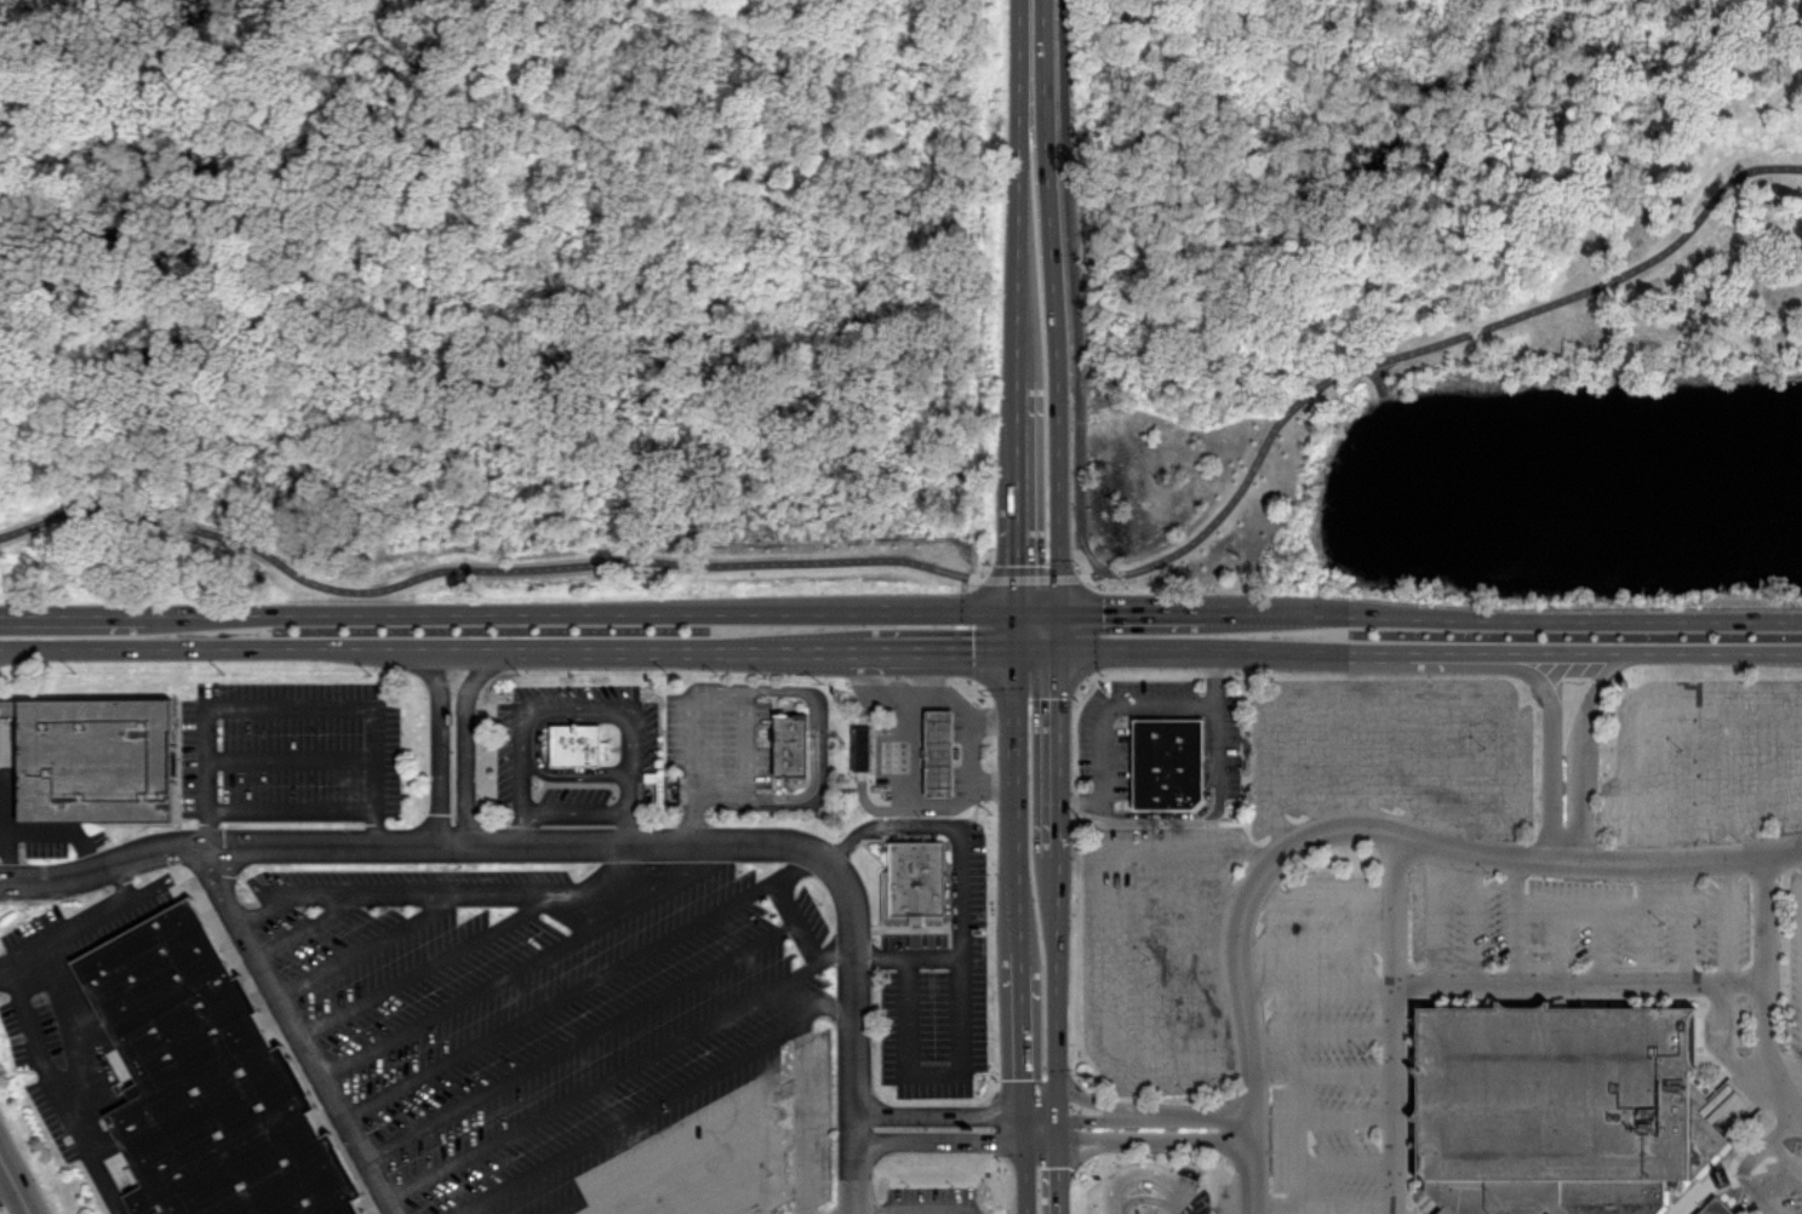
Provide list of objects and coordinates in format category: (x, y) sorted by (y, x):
road: (1034, 189)
road: (263, 236)
road: (1603, 277)
road: (1076, 294)
road: (1380, 380)
road: (1035, 428)
road: (1237, 489)
road: (1035, 542)
road: (481, 567)
road: (1031, 577)
traffic signals: (1035, 606)
road: (589, 608)
road: (1129, 608)
road: (71, 615)
road: (1512, 615)
road: (1035, 626)
road: (2, 646)
road: (261, 646)
road: (622, 646)
road: (796, 646)
road: (950, 646)
road: (2, 647)
traffic signals: (1035, 648)
road: (1114, 649)
road: (1295, 652)
road: (1653, 653)
road: (1452, 654)
road: (920, 676)
road: (1389, 698)
road: (1116, 705)
road: (1640, 705)
road: (291, 706)
road: (537, 708)
road: (973, 715)
road: (439, 733)
road: (468, 734)
road: (1552, 735)
parking lot: (721, 738)
road: (693, 741)
road: (1215, 743)
road: (539, 744)
building: (582, 744)
building: (794, 745)
road: (1035, 745)
building: (863, 746)
parking lot: (514, 748)
road: (974, 750)
parking lot: (291, 751)
building: (942, 751)
gas station: (942, 751)
parking lot: (1394, 752)
road: (1581, 752)
parking lot: (1102, 756)
building: (97, 757)
road: (291, 757)
road: (746, 760)
building: (1163, 761)
road: (1365, 762)
parking lot: (1705, 762)
road: (1318, 765)
road: (1414, 768)
road: (1787, 772)
road: (913, 773)
road: (1744, 774)
road: (822, 775)
road: (1465, 775)
road: (1701, 778)
road: (1657, 779)
road: (12, 797)
road: (1070, 800)
road: (631, 807)
road: (292, 811)
road: (577, 811)
road: (1165, 814)
road: (1335, 828)
road: (67, 831)
road: (553, 844)
road: (1036, 849)
road: (1784, 849)
road: (797, 867)
road: (608, 869)
road: (124, 882)
building: (917, 883)
road: (1178, 891)
road: (397, 893)
road: (1322, 898)
road: (1580, 905)
road: (1036, 911)
road: (104, 915)
road: (1432, 915)
road: (1475, 920)
road: (796, 921)
road: (1516, 921)
road: (1726, 921)
parking lot: (1575, 922)
road: (1684, 923)
road: (311, 924)
road: (1646, 924)
road: (1171, 932)
road: (1103, 935)
road: (1317, 943)
road: (371, 944)
road: (1557, 944)
road: (1600, 945)
road: (837, 951)
parking lot: (1159, 954)
road: (910, 956)
road: (534, 960)
parking lot: (1794, 961)
road: (433, 966)
road: (965, 969)
road: (1173, 975)
road: (1320, 985)
road: (1581, 985)
road: (1768, 989)
parking lot: (939, 990)
road: (559, 998)
road: (829, 1007)
road: (1177, 1020)
road: (1396, 1024)
road: (296, 1030)
parking lot: (571, 1031)
road: (1323, 1031)
parking lot: (55, 1033)
road: (580, 1038)
parking lot: (1322, 1042)
road: (73, 1043)
road: (1037, 1047)
road: (1721, 1047)
road: (1323, 1072)
building: (211, 1081)
road: (603, 1081)
road: (57, 1094)
building: (1557, 1109)
road: (628, 1117)
road: (803, 1117)
road: (1345, 1117)
road: (948, 1129)
road: (1145, 1129)
traffic signals: (1039, 1130)
road: (1294, 1140)
road: (677, 1145)
road: (1786, 1158)
road: (1752, 1161)
road: (1345, 1163)
road: (1144, 1168)
parking lot: (1774, 1169)
road: (726, 1172)
road: (857, 1172)
road: (1040, 1172)
road: (15, 1184)
road: (1146, 1185)
road: (773, 1197)
parking lot: (932, 1199)
road: (1145, 1199)
parking lot: (1197, 1204)
road: (1323, 1208)
building: (1716, 1208)
road: (849, 1210)

